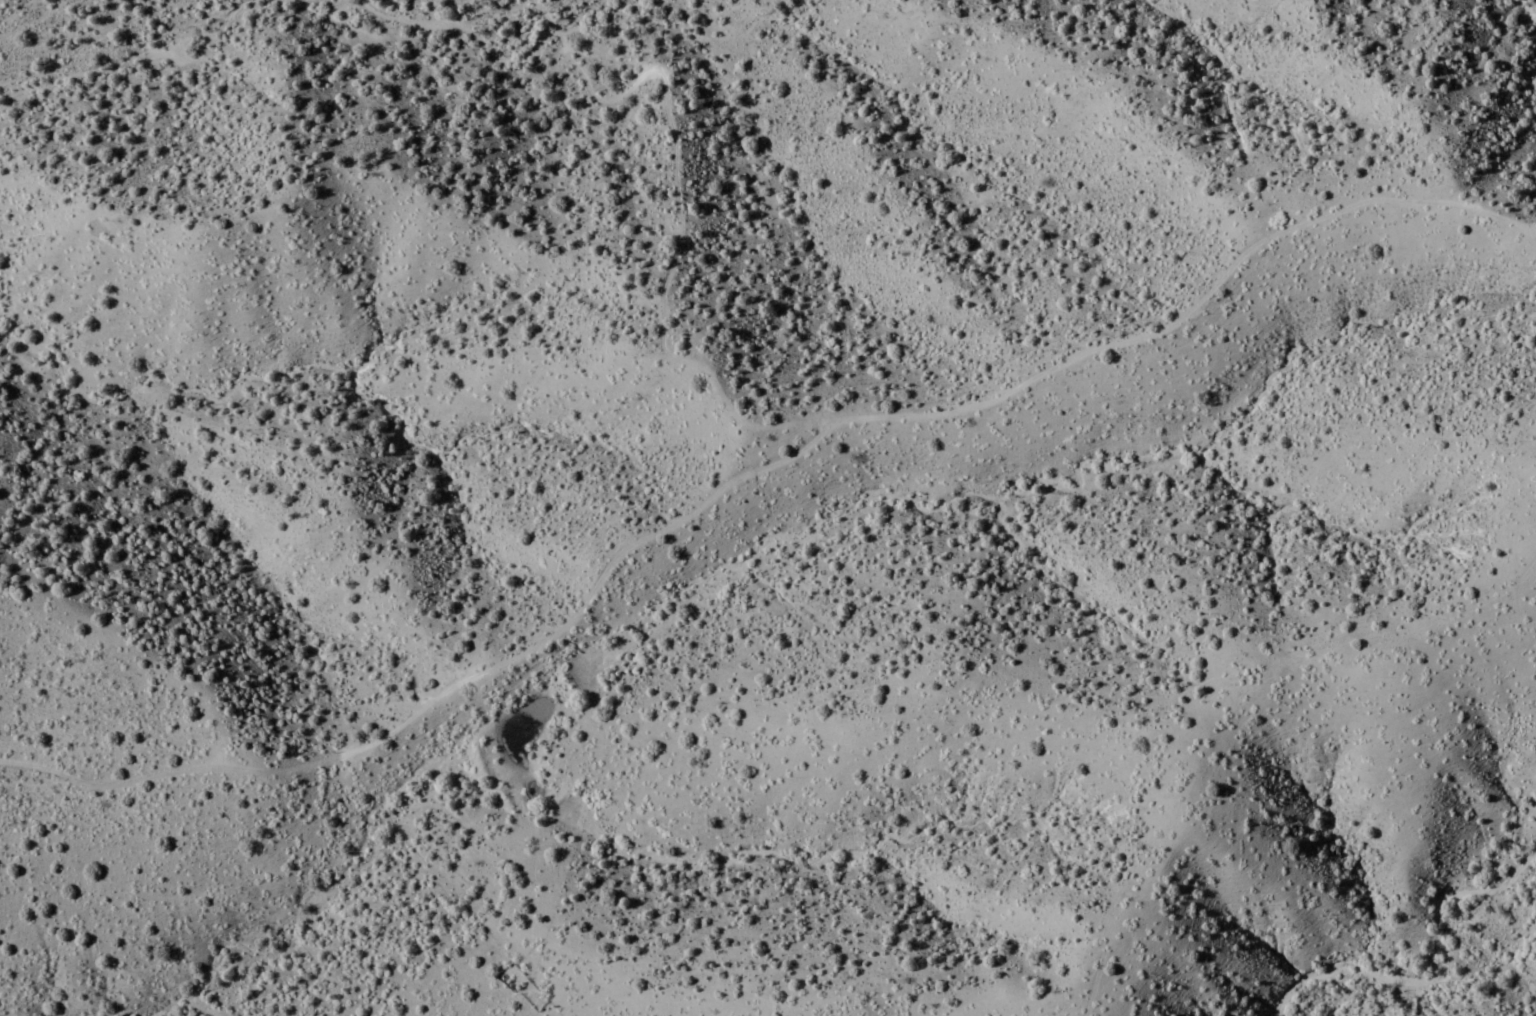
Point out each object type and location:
road: (695, 452)
road: (1397, 781)
road: (20, 1010)

